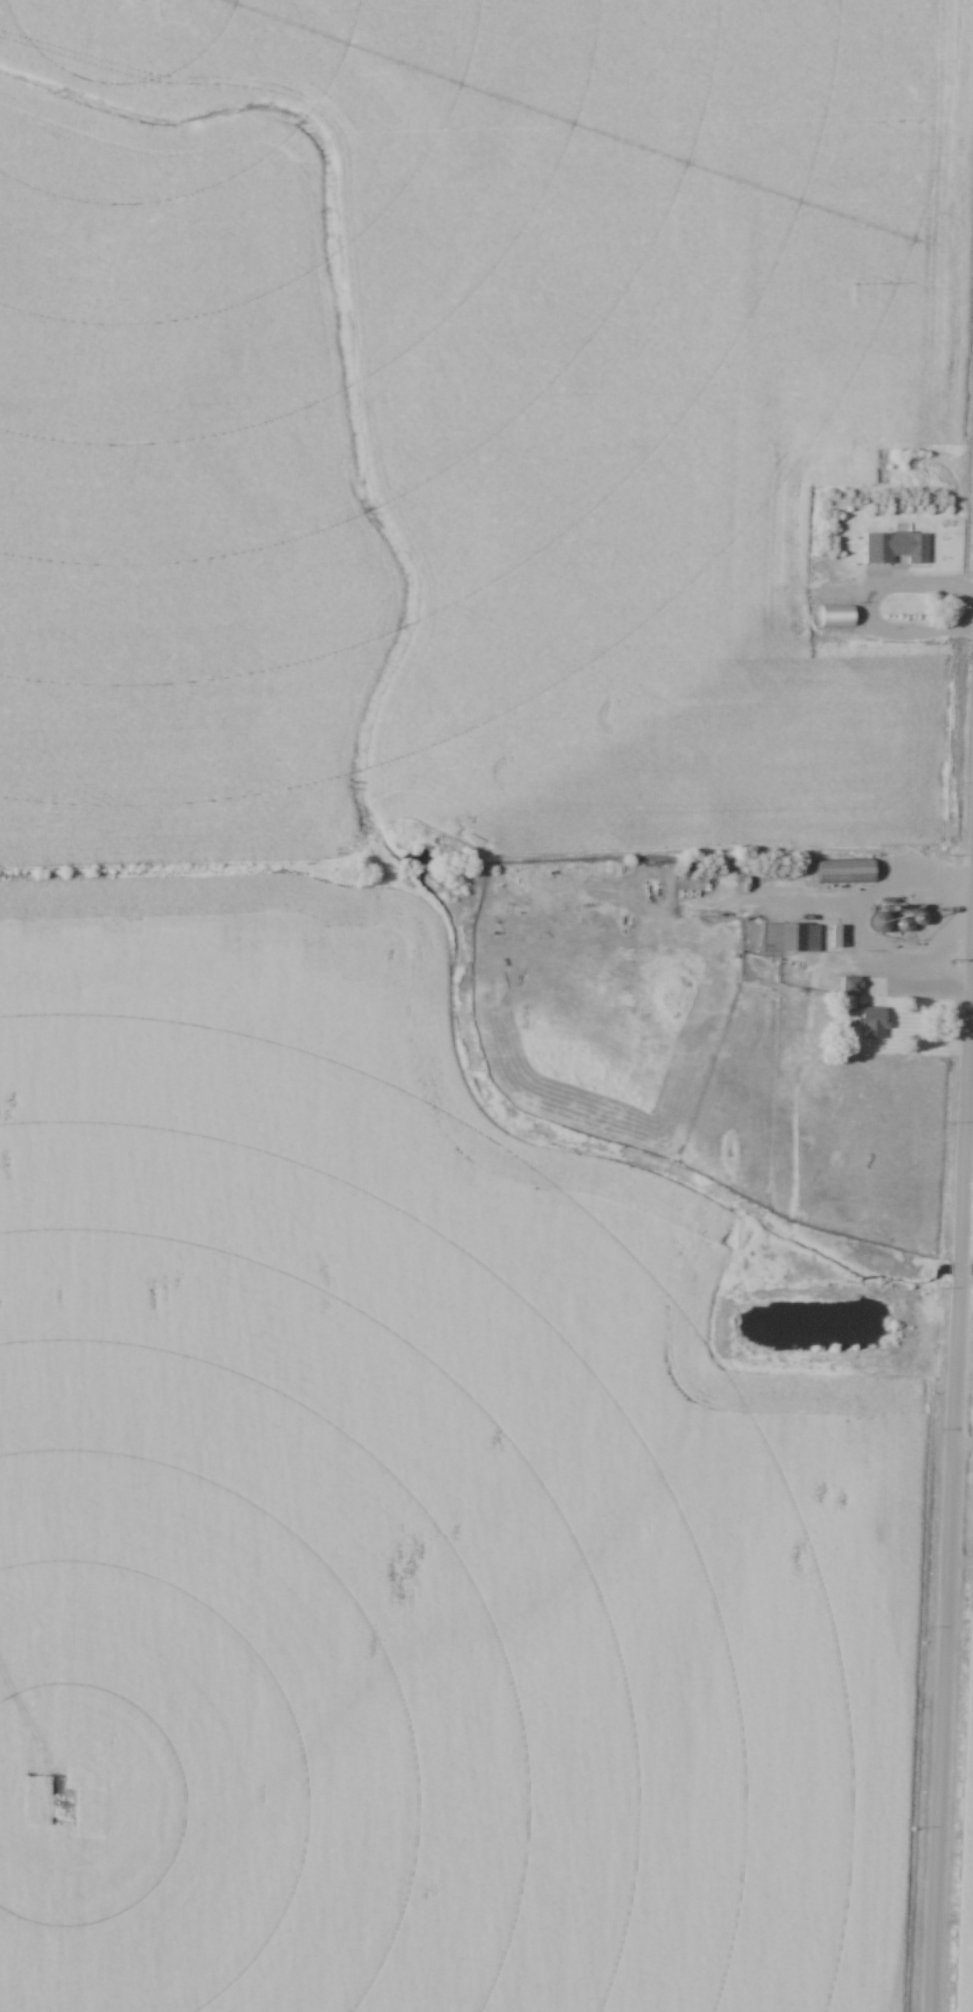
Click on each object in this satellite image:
building: (912, 544)
building: (839, 616)
building: (848, 871)
building: (884, 922)
building: (840, 936)
building: (794, 937)
building: (853, 985)
building: (876, 1023)
road: (948, 1435)
road: (960, 1450)

